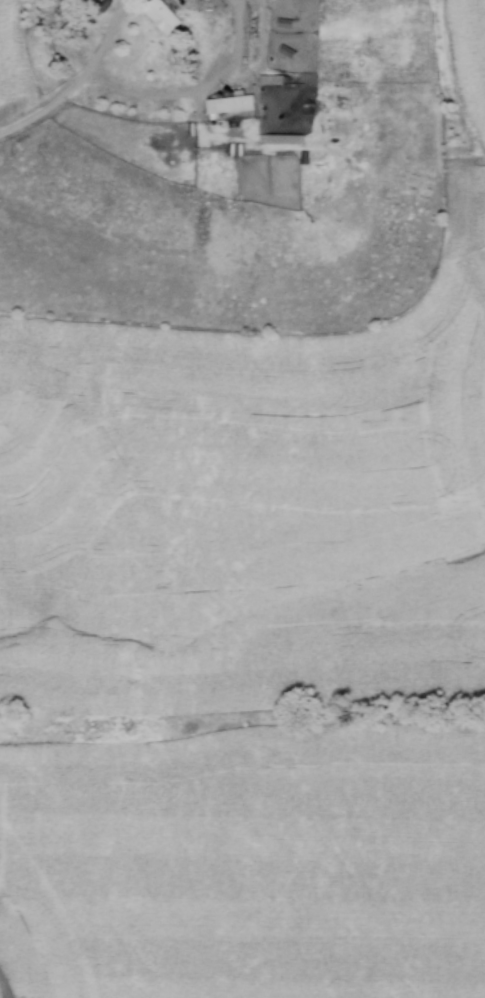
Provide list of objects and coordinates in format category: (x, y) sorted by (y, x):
building: (159, 15)
road: (109, 36)
building: (270, 80)
road: (194, 92)
building: (228, 104)
road: (48, 108)
building: (281, 139)

